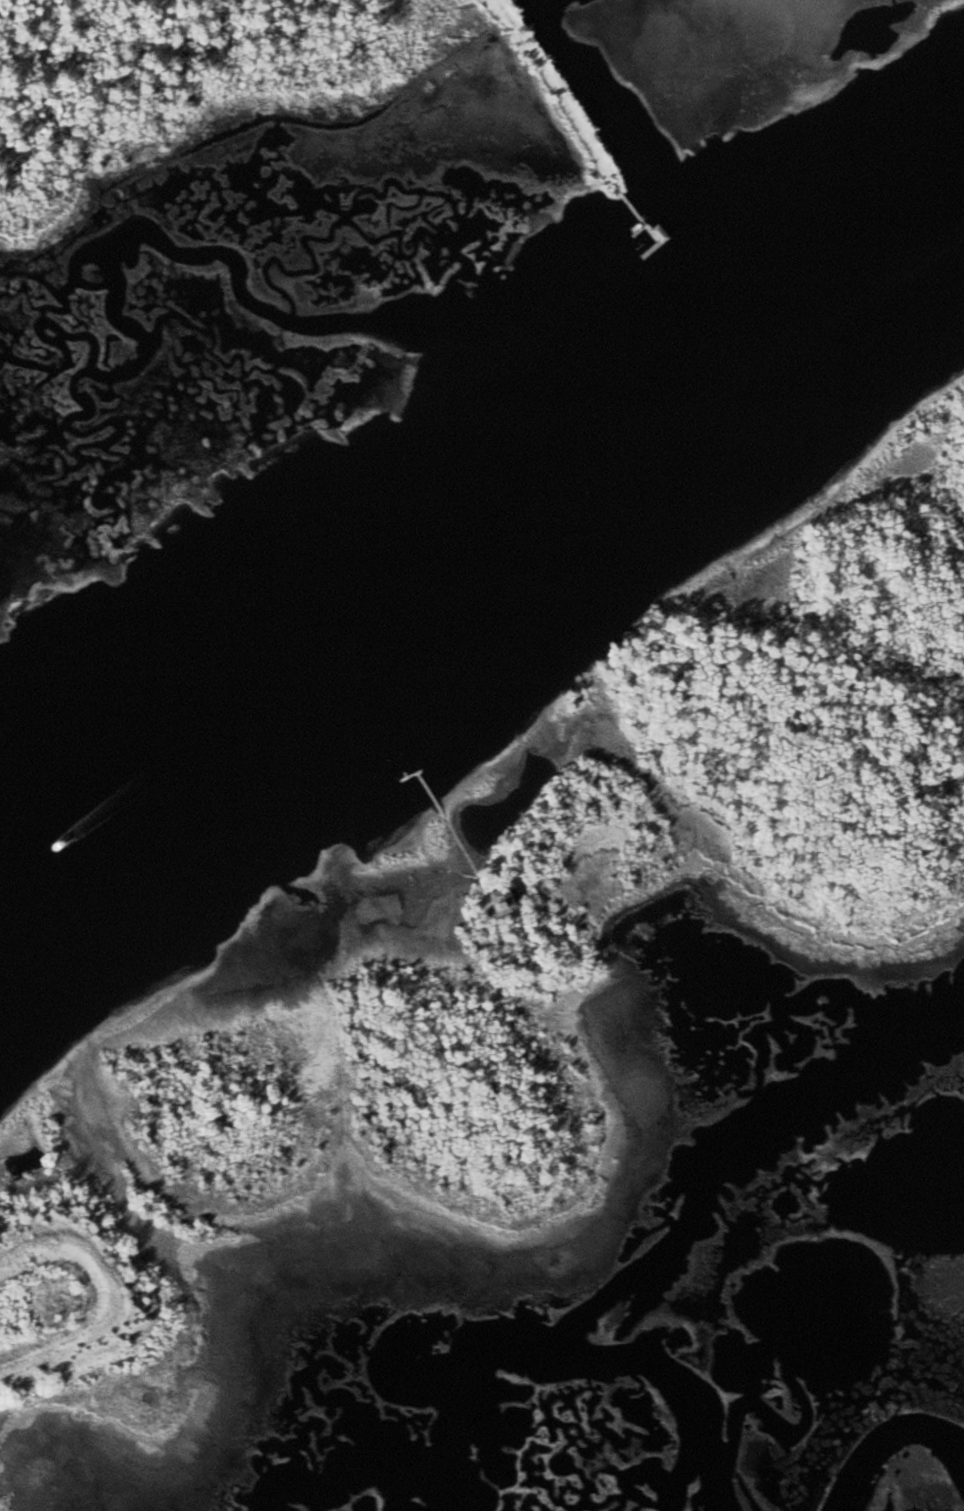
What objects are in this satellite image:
road: (446, 818)
building: (506, 901)

